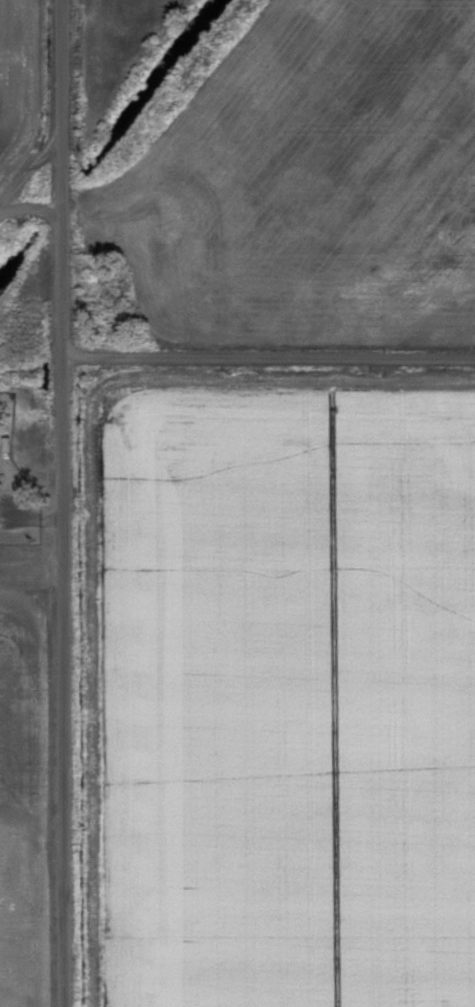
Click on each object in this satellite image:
road: (26, 168)
road: (30, 205)
road: (268, 359)
road: (62, 503)

